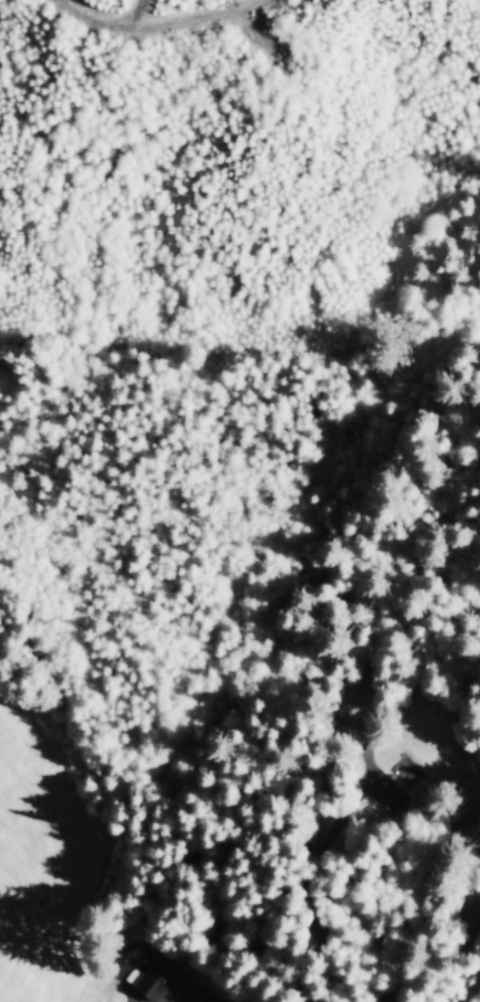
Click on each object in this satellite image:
road: (107, 21)

